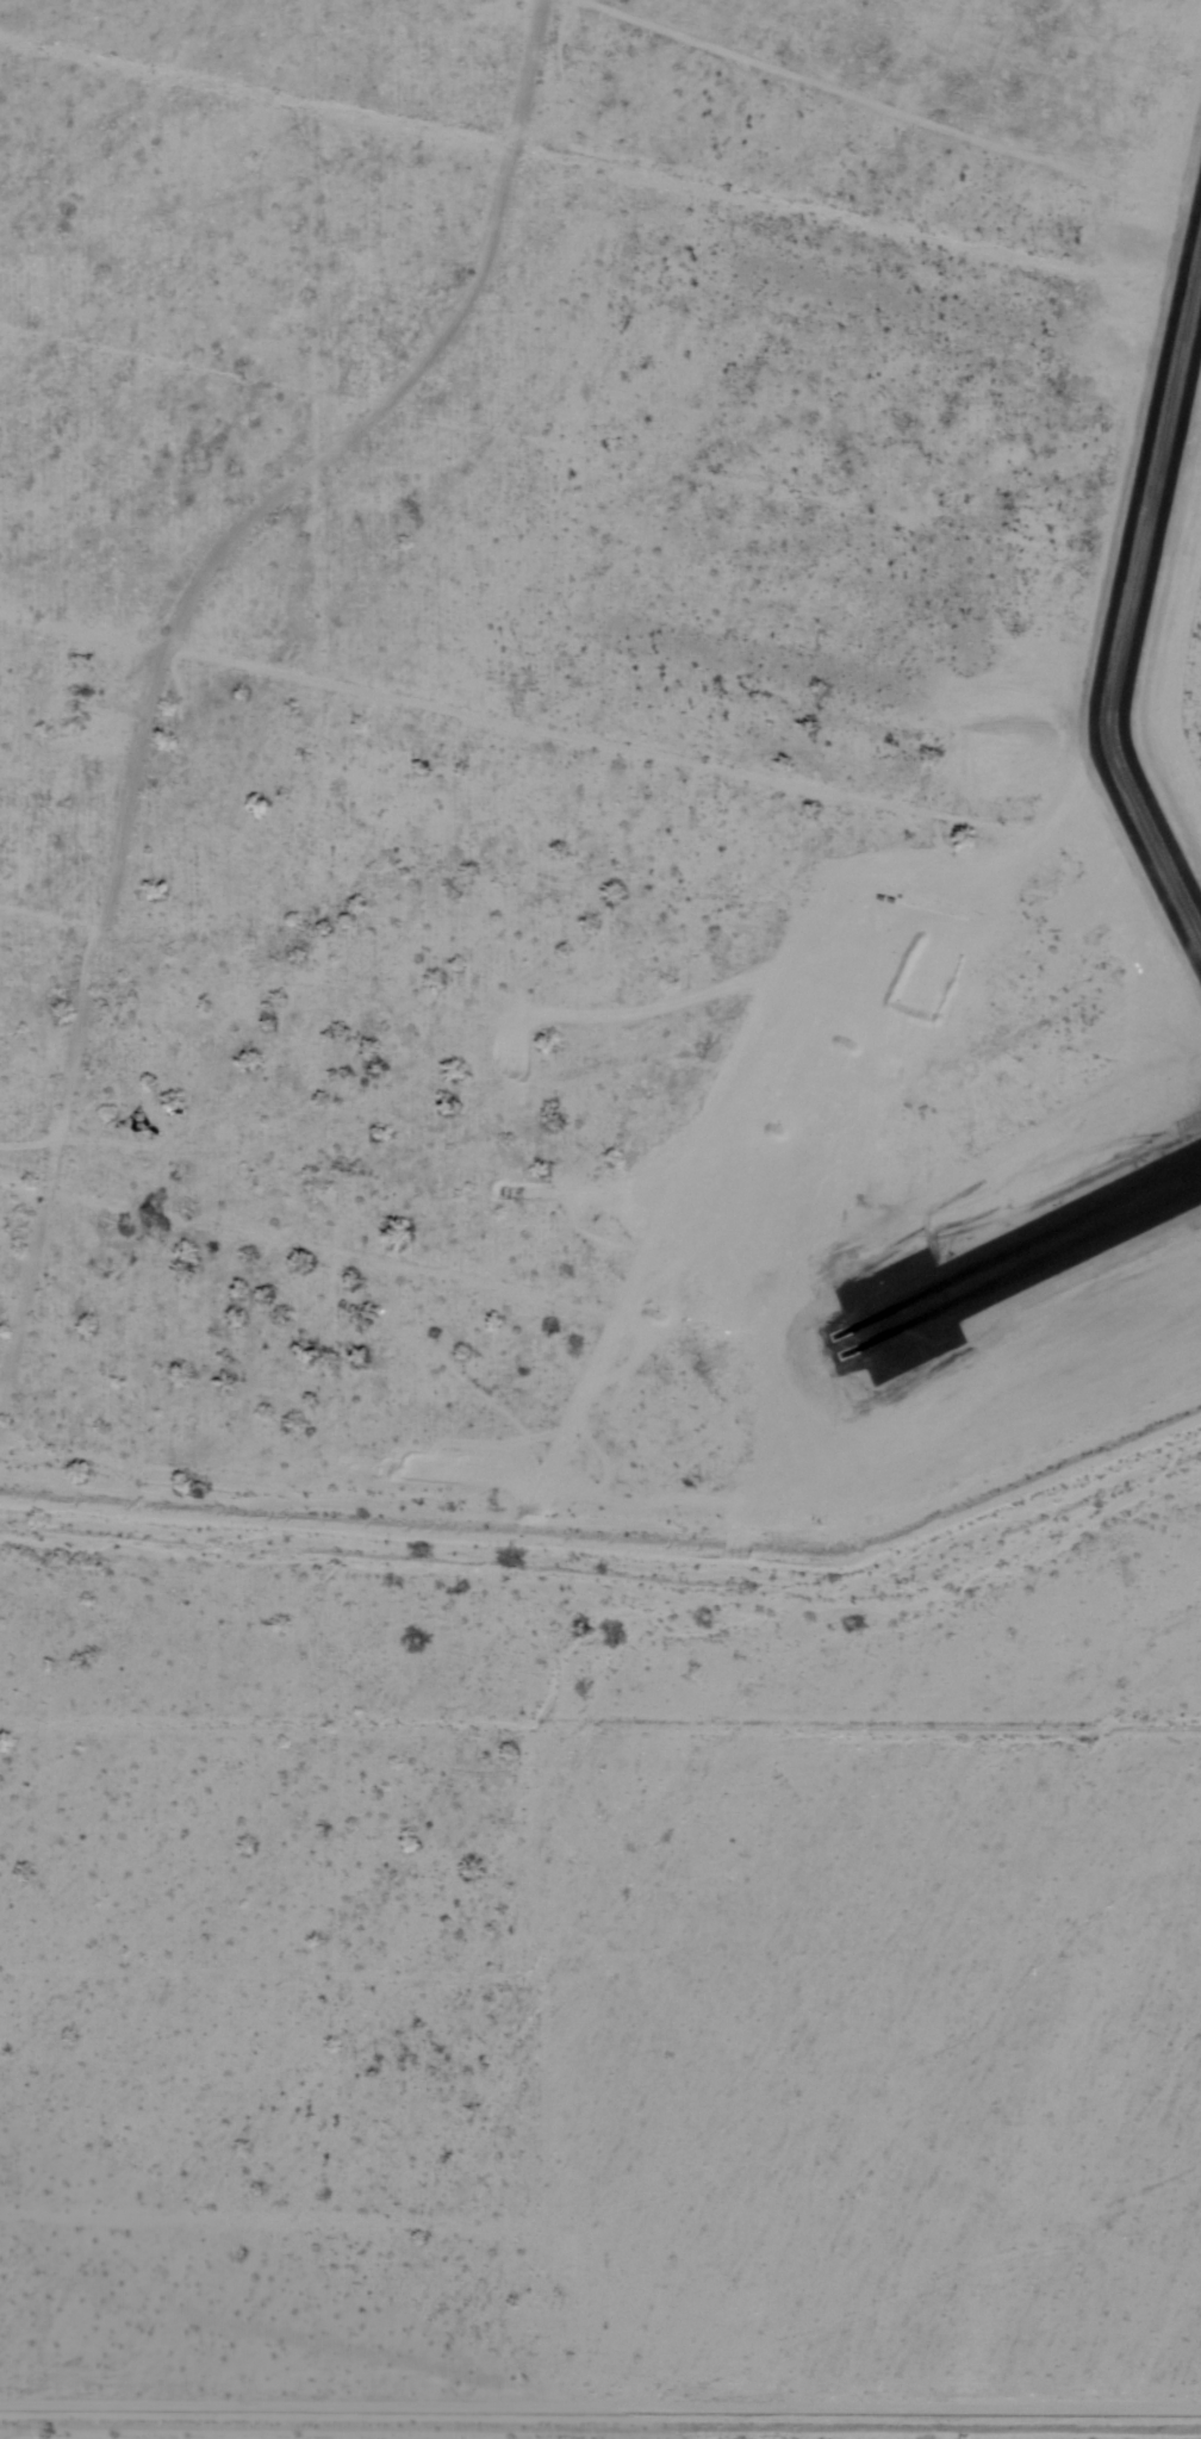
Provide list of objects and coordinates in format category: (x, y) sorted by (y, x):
airport taxiway: (1128, 609)
airport: (1048, 1089)
airport runway: (1041, 1244)

